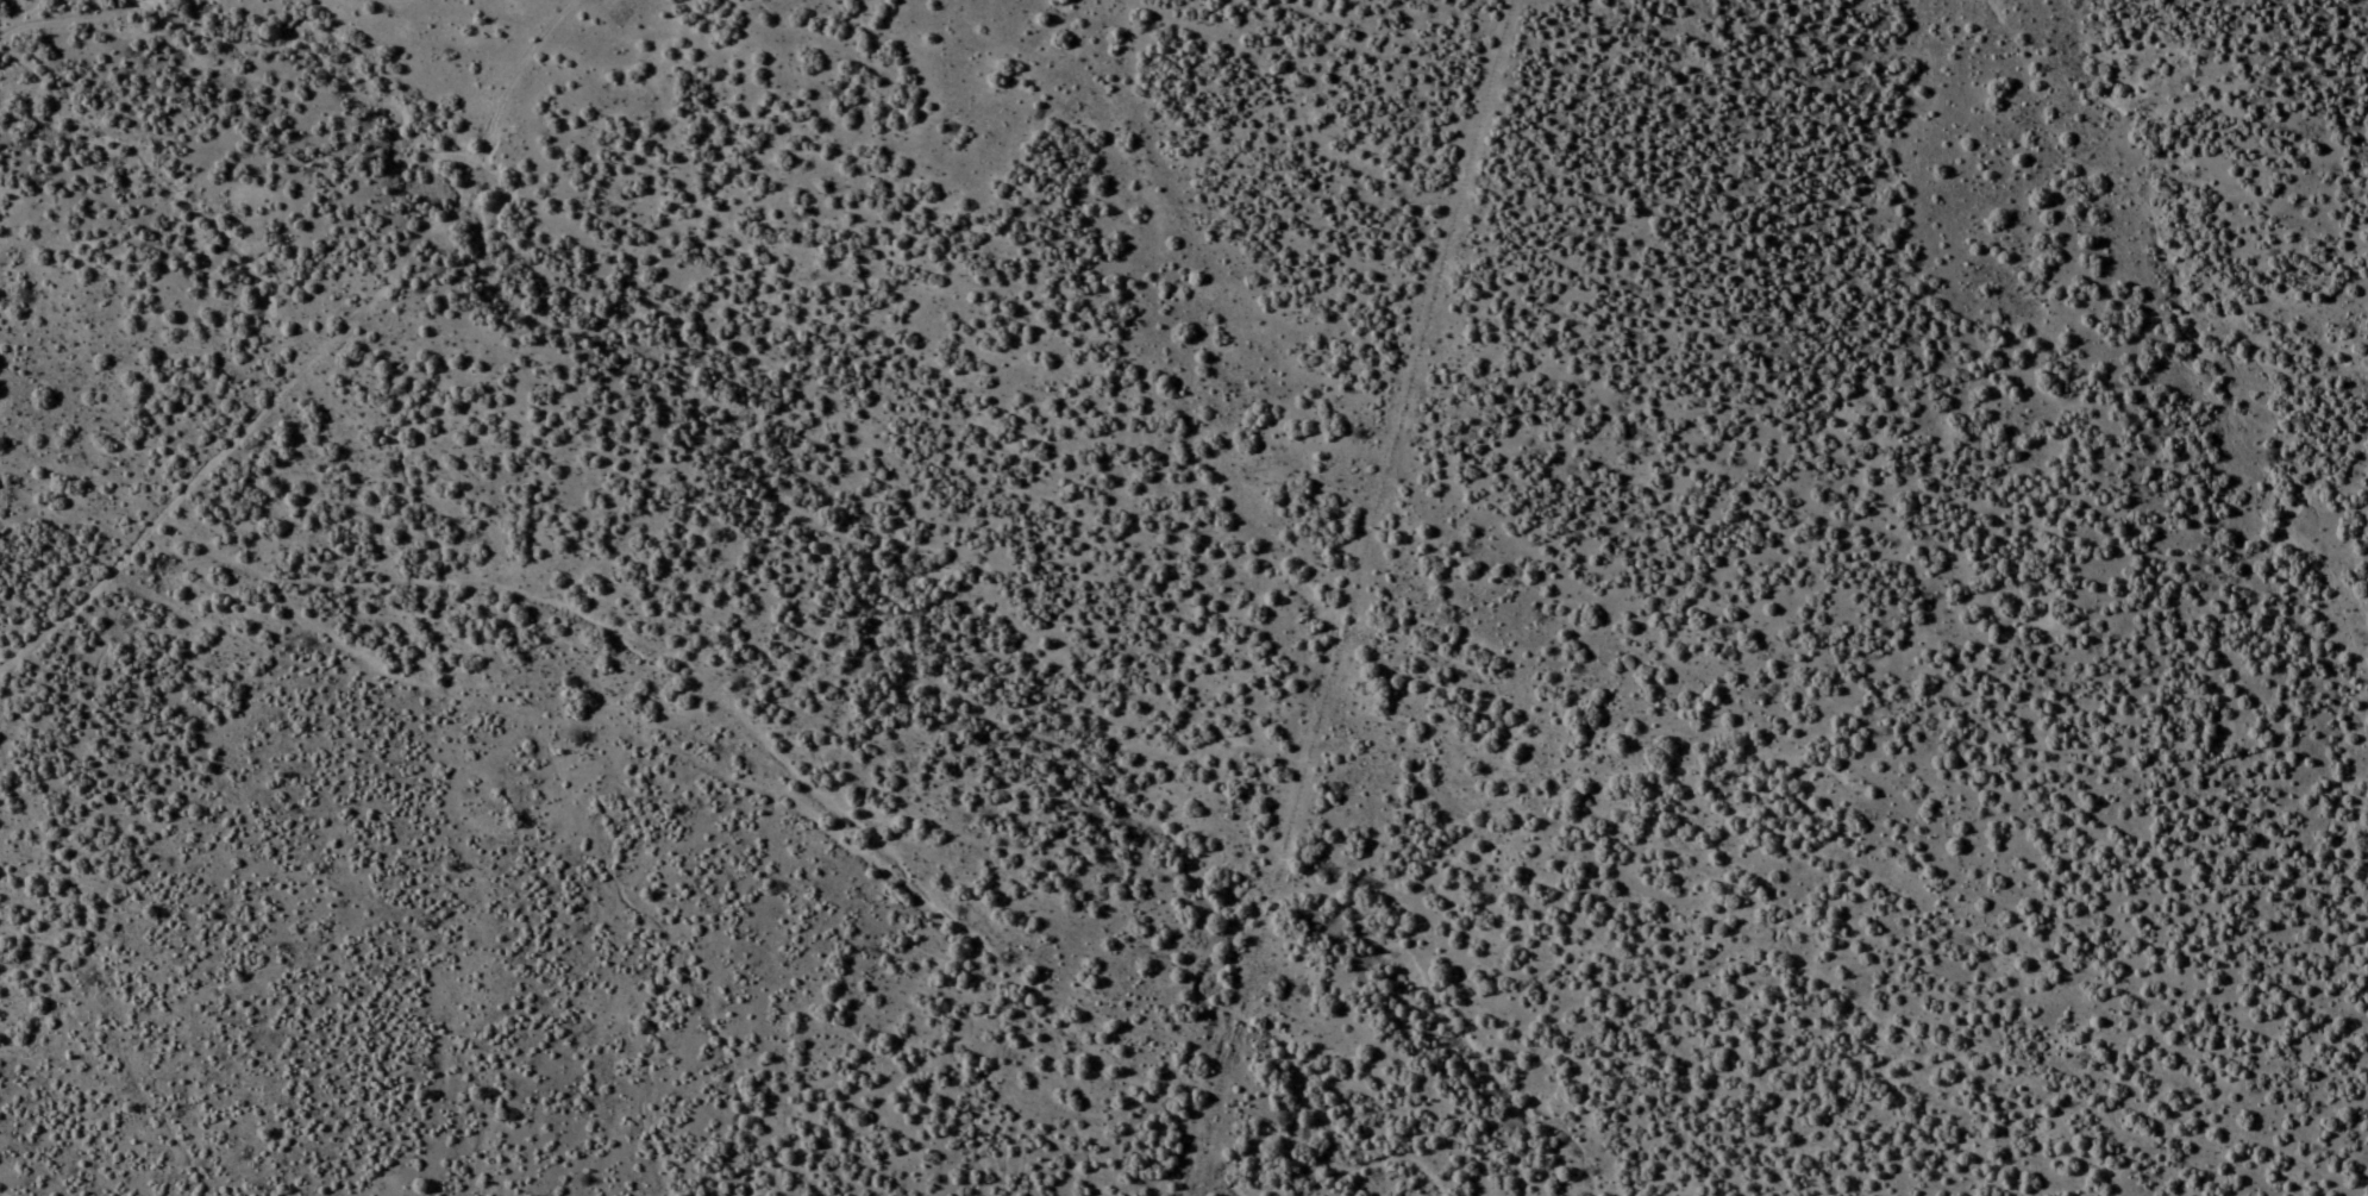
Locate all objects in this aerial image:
road: (46, 25)
road: (1343, 597)

